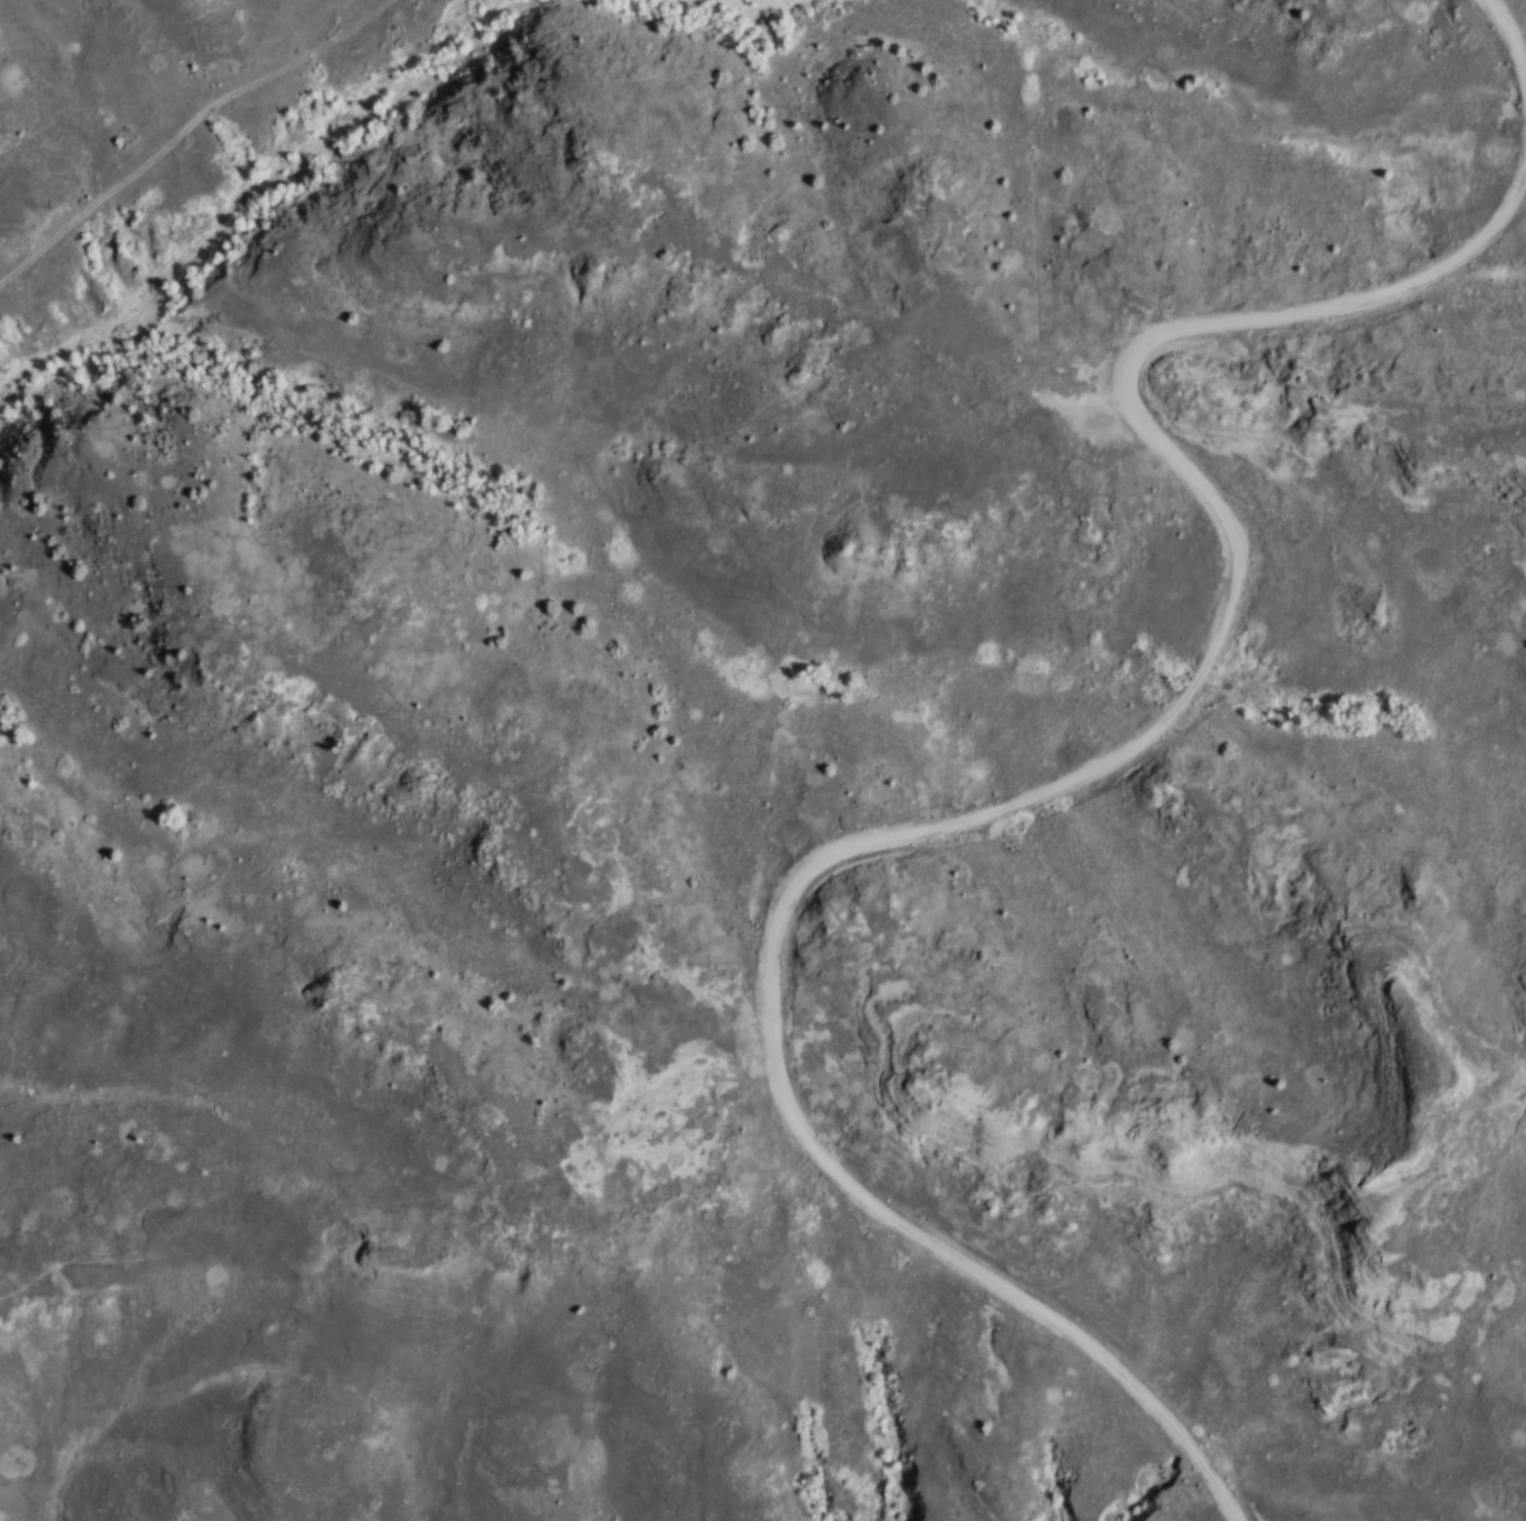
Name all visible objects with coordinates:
road: (1509, 46)
road: (186, 127)
road: (1002, 808)

